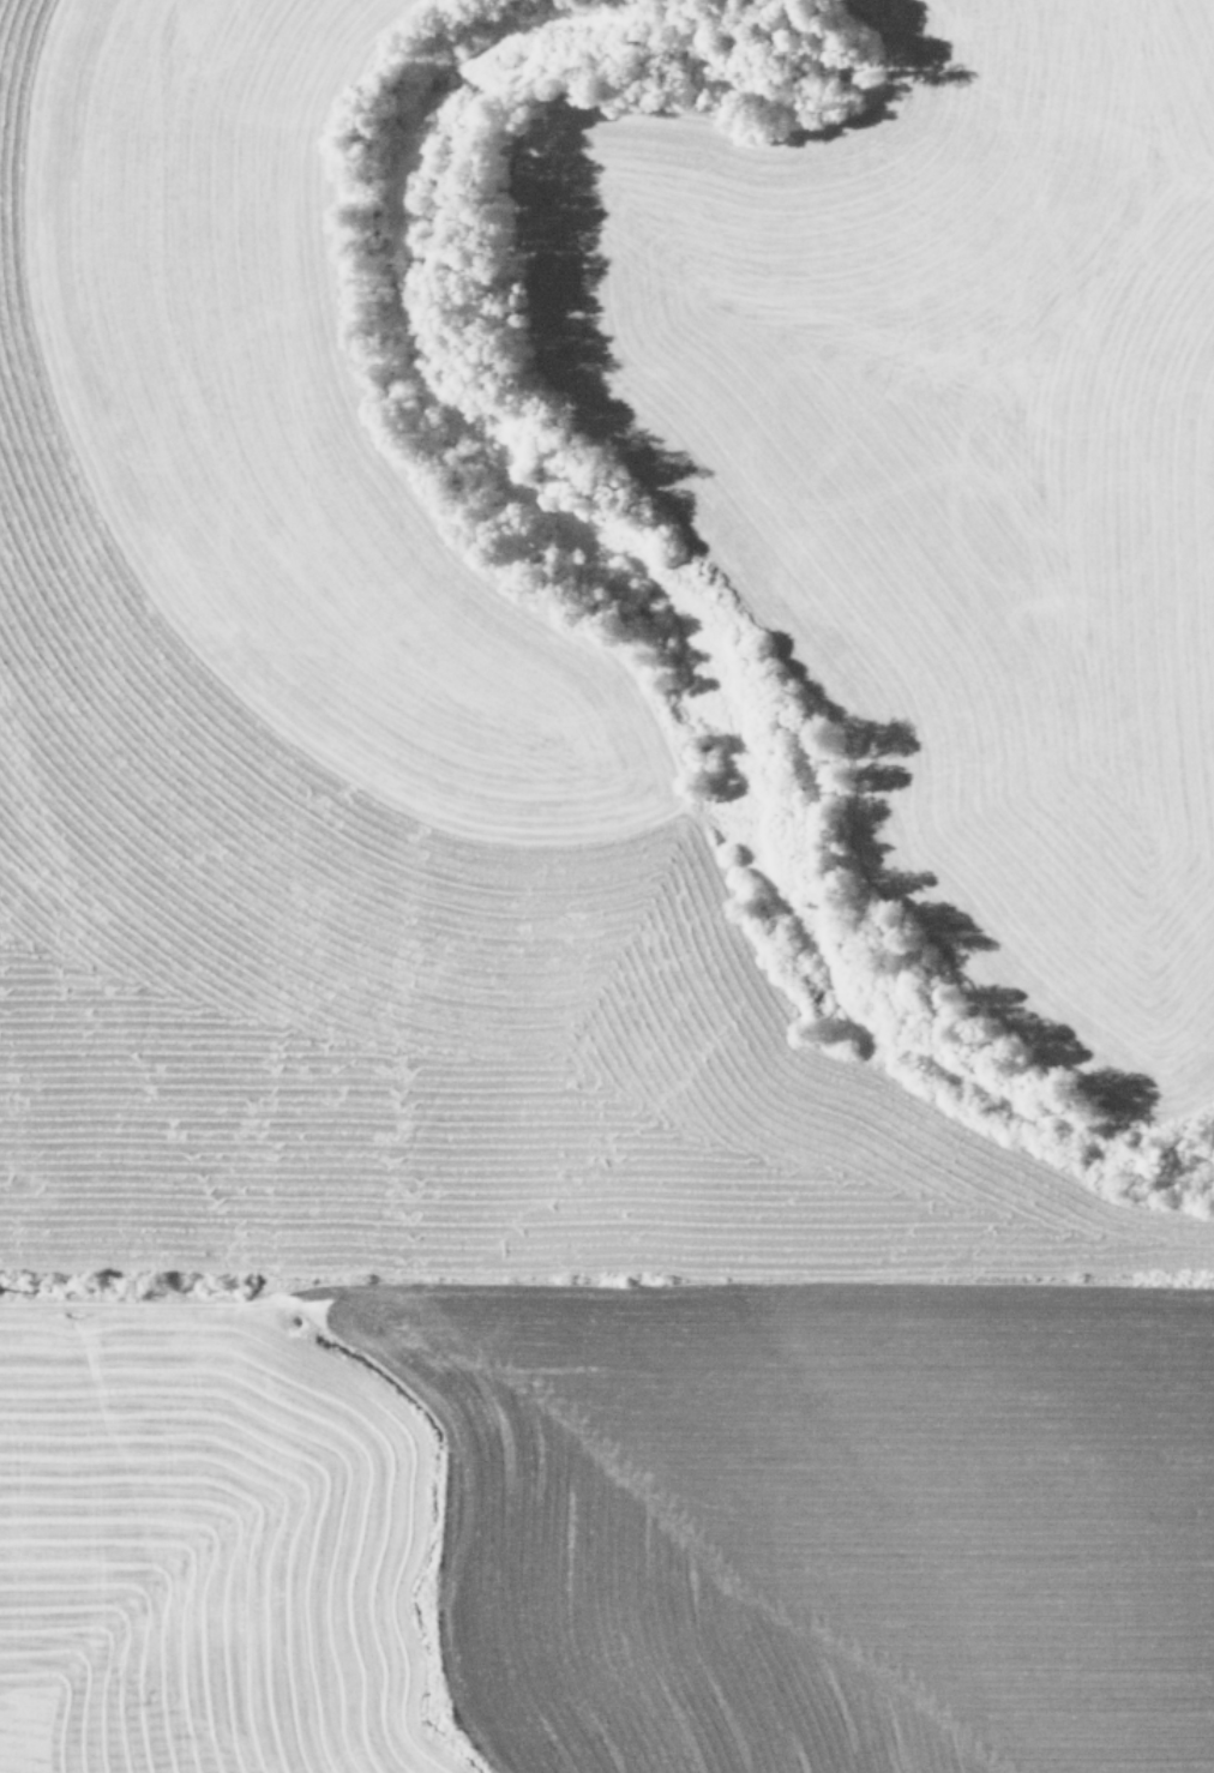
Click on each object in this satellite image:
crop: (607, 886)

